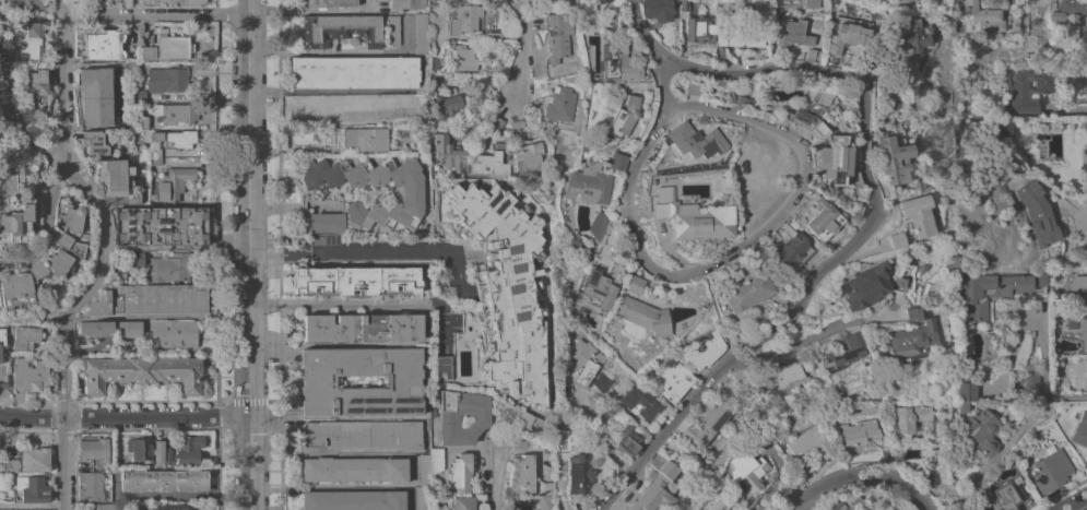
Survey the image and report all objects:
building: (114, 0)
building: (543, 0)
building: (901, 0)
building: (170, 1)
building: (438, 1)
building: (602, 1)
building: (28, 3)
building: (329, 3)
building: (811, 3)
building: (406, 4)
building: (684, 4)
building: (1070, 9)
road: (315, 10)
building: (658, 10)
road: (157, 13)
building: (464, 17)
building: (983, 17)
building: (698, 25)
building: (822, 27)
building: (340, 29)
building: (393, 31)
building: (847, 32)
building: (1085, 32)
building: (793, 33)
building: (421, 34)
building: (557, 36)
building: (909, 36)
building: (740, 38)
building: (25, 40)
building: (103, 45)
building: (175, 47)
road: (522, 48)
road: (326, 50)
building: (149, 52)
building: (813, 55)
building: (465, 58)
building: (871, 59)
building: (1086, 61)
building: (435, 63)
building: (615, 63)
building: (354, 72)
building: (166, 80)
building: (201, 82)
building: (692, 88)
building: (1031, 88)
building: (39, 90)
building: (788, 93)
building: (139, 95)
building: (98, 97)
building: (447, 104)
building: (559, 104)
building: (354, 107)
building: (808, 109)
road: (1066, 110)
building: (175, 114)
building: (622, 117)
road: (17, 119)
road: (751, 120)
building: (208, 121)
building: (140, 122)
building: (496, 123)
building: (519, 123)
building: (1002, 129)
building: (176, 139)
building: (365, 139)
building: (692, 139)
building: (94, 142)
building: (332, 151)
building: (154, 153)
building: (447, 153)
building: (830, 155)
building: (528, 156)
building: (893, 158)
building: (154, 161)
building: (491, 161)
building: (616, 162)
building: (38, 168)
building: (1084, 173)
building: (114, 177)
building: (174, 182)
building: (588, 185)
building: (411, 194)
building: (132, 198)
road: (294, 204)
building: (1038, 213)
building: (917, 214)
road: (871, 215)
building: (690, 217)
building: (17, 218)
building: (72, 218)
building: (822, 220)
building: (322, 222)
road: (46, 224)
building: (161, 225)
building: (599, 225)
building: (590, 227)
building: (896, 240)
building: (70, 245)
road: (350, 248)
building: (790, 252)
road: (639, 253)
road: (250, 254)
road: (107, 256)
building: (135, 257)
building: (51, 265)
building: (172, 266)
building: (922, 268)
building: (593, 276)
building: (356, 280)
building: (898, 283)
building: (633, 284)
building: (865, 286)
building: (506, 287)
building: (14, 289)
building: (744, 290)
building: (993, 290)
building: (1080, 294)
building: (149, 299)
road: (346, 303)
building: (912, 313)
building: (643, 316)
building: (942, 321)
building: (96, 328)
building: (129, 328)
building: (363, 328)
building: (1083, 332)
building: (174, 333)
road: (814, 334)
building: (25, 337)
building: (911, 339)
building: (2, 345)
building: (706, 349)
building: (846, 351)
building: (583, 360)
building: (442, 368)
building: (744, 371)
building: (141, 372)
building: (29, 376)
road: (1041, 377)
building: (1086, 377)
building: (785, 378)
building: (3, 379)
building: (318, 381)
building: (672, 381)
building: (1028, 381)
building: (602, 382)
building: (965, 391)
building: (639, 402)
building: (961, 407)
road: (123, 416)
building: (449, 417)
building: (908, 419)
building: (528, 420)
building: (706, 424)
building: (1080, 429)
building: (859, 431)
building: (981, 431)
building: (363, 434)
road: (593, 437)
building: (627, 440)
building: (520, 441)
building: (810, 442)
building: (139, 448)
building: (93, 449)
building: (187, 451)
building: (157, 452)
road: (328, 453)
building: (167, 456)
building: (436, 459)
building: (34, 460)
building: (10, 465)
building: (355, 469)
building: (1050, 469)
building: (424, 470)
building: (460, 473)
building: (807, 473)
road: (858, 473)
building: (521, 474)
building: (579, 474)
building: (746, 474)
building: (163, 481)
road: (496, 481)
building: (91, 486)
road: (331, 487)
building: (547, 487)
building: (32, 488)
building: (657, 489)
building: (423, 498)
building: (1002, 498)
building: (354, 500)
building: (462, 502)
building: (545, 502)
road: (802, 505)
building: (835, 505)
building: (515, 506)
road: (1082, 506)
building: (103, 507)
building: (175, 507)
building: (436, 507)
building: (862, 508)
building: (29, 509)

